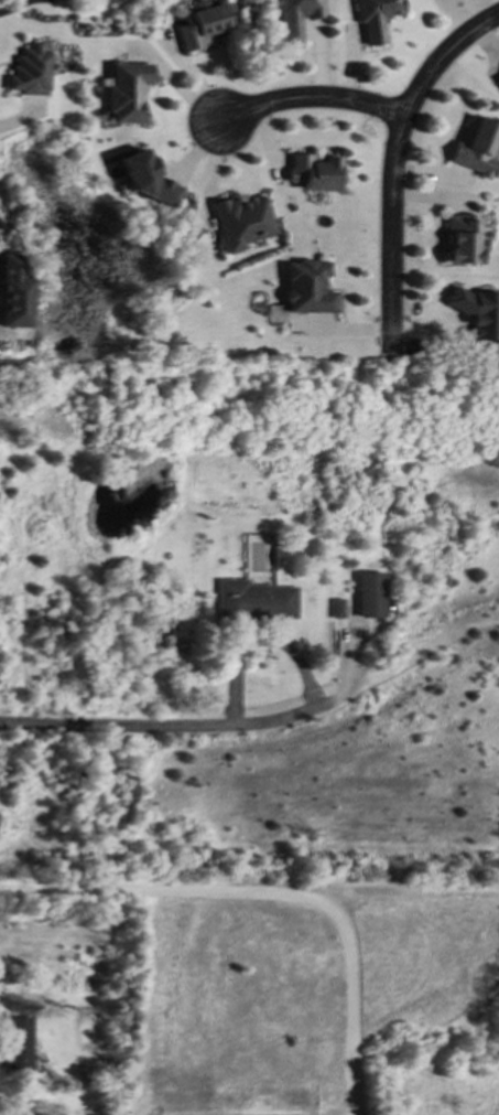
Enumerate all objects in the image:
building: (294, 17)
building: (373, 17)
building: (199, 23)
building: (29, 69)
building: (497, 76)
building: (126, 90)
road: (304, 93)
building: (476, 147)
road: (392, 158)
building: (313, 171)
building: (145, 178)
building: (239, 221)
building: (462, 238)
building: (308, 287)
building: (476, 310)
building: (369, 593)
building: (250, 600)
building: (336, 607)
road: (156, 723)
road: (274, 891)
building: (17, 1044)

